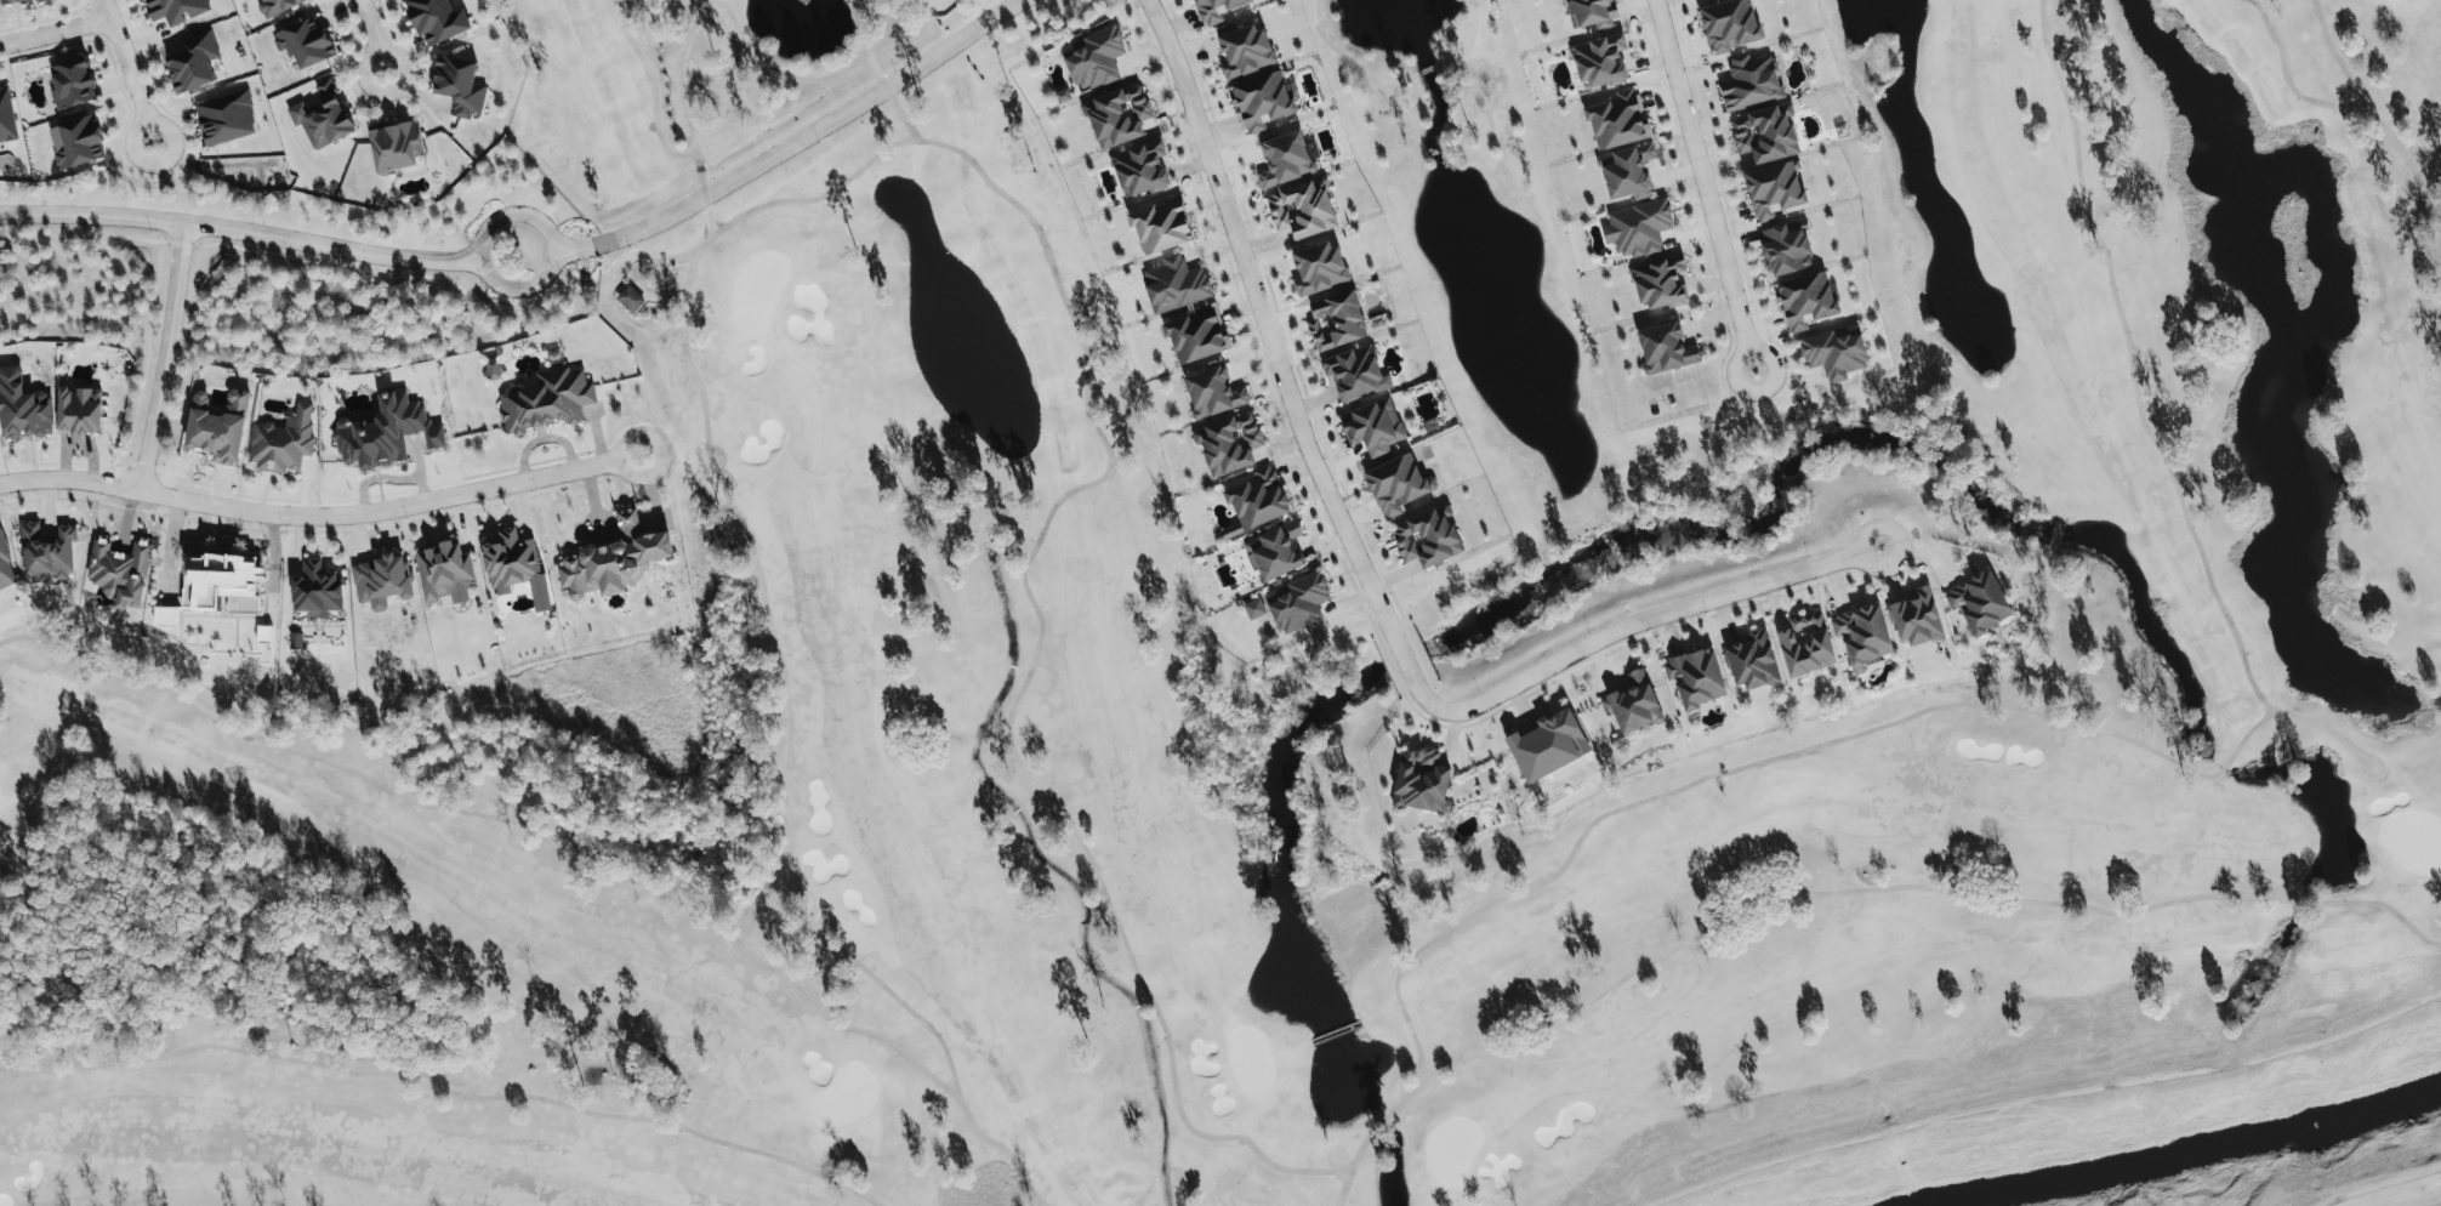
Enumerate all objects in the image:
building: (10, 1)
building: (277, 6)
building: (176, 10)
building: (1214, 10)
building: (1591, 13)
building: (436, 21)
road: (372, 23)
building: (1730, 24)
road: (56, 32)
building: (305, 41)
building: (1244, 51)
building: (1093, 58)
road: (127, 59)
building: (193, 62)
building: (1600, 62)
road: (362, 79)
building: (1751, 83)
building: (72, 84)
building: (459, 85)
building: (1062, 96)
building: (1261, 101)
building: (6, 115)
building: (1117, 115)
building: (323, 116)
building: (226, 119)
building: (1617, 120)
road: (813, 132)
building: (1765, 133)
building: (76, 142)
building: (396, 147)
road: (135, 159)
building: (1285, 159)
building: (1140, 169)
building: (1627, 172)
road: (1706, 187)
building: (1774, 189)
building: (1302, 209)
building: (1160, 226)
building: (1638, 228)
road: (239, 229)
road: (574, 248)
building: (1786, 248)
road: (552, 256)
building: (1319, 268)
building: (1660, 283)
building: (1174, 284)
building: (630, 298)
building: (1805, 301)
building: (1336, 320)
building: (1196, 335)
building: (1665, 348)
building: (1834, 352)
road: (166, 357)
building: (493, 369)
building: (1355, 374)
building: (1212, 393)
building: (547, 402)
building: (23, 408)
building: (79, 411)
building: (218, 427)
building: (1373, 427)
building: (385, 432)
road: (626, 437)
building: (283, 442)
building: (1228, 443)
building: (1396, 484)
building: (1257, 499)
road: (309, 514)
road: (1872, 530)
building: (1427, 537)
building: (1275, 552)
building: (47, 553)
building: (613, 561)
building: (510, 562)
building: (6, 567)
road: (1364, 569)
building: (120, 571)
building: (445, 573)
building: (381, 581)
building: (222, 584)
building: (317, 590)
building: (1979, 602)
building: (1298, 603)
building: (166, 616)
building: (1916, 618)
building: (1861, 636)
building: (1805, 645)
building: (1752, 661)
building: (1695, 678)
building: (1633, 704)
park: (1284, 713)
park: (1324, 727)
building: (1548, 746)
building: (1421, 781)
river: (2206, 1151)
park: (2400, 1190)

